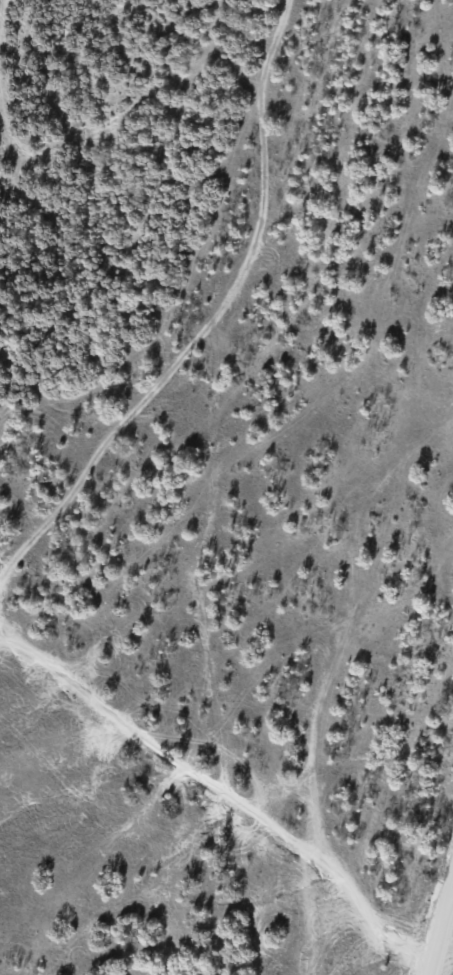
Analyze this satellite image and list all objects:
road: (432, 911)

